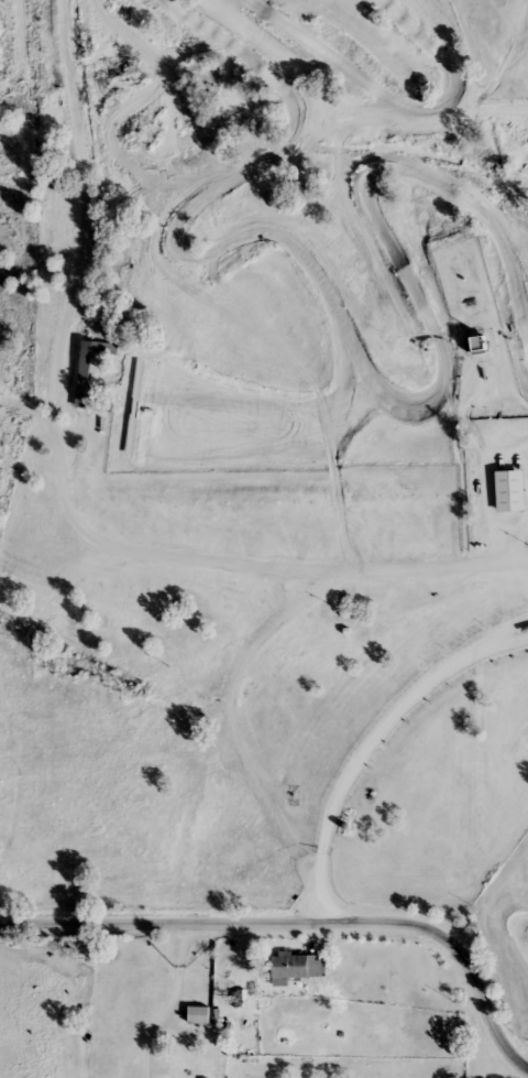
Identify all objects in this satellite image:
building: (476, 341)
building: (91, 364)
road: (55, 386)
building: (510, 489)
road: (269, 629)
road: (380, 738)
road: (305, 926)
building: (299, 965)
road: (170, 1001)
building: (199, 1013)

